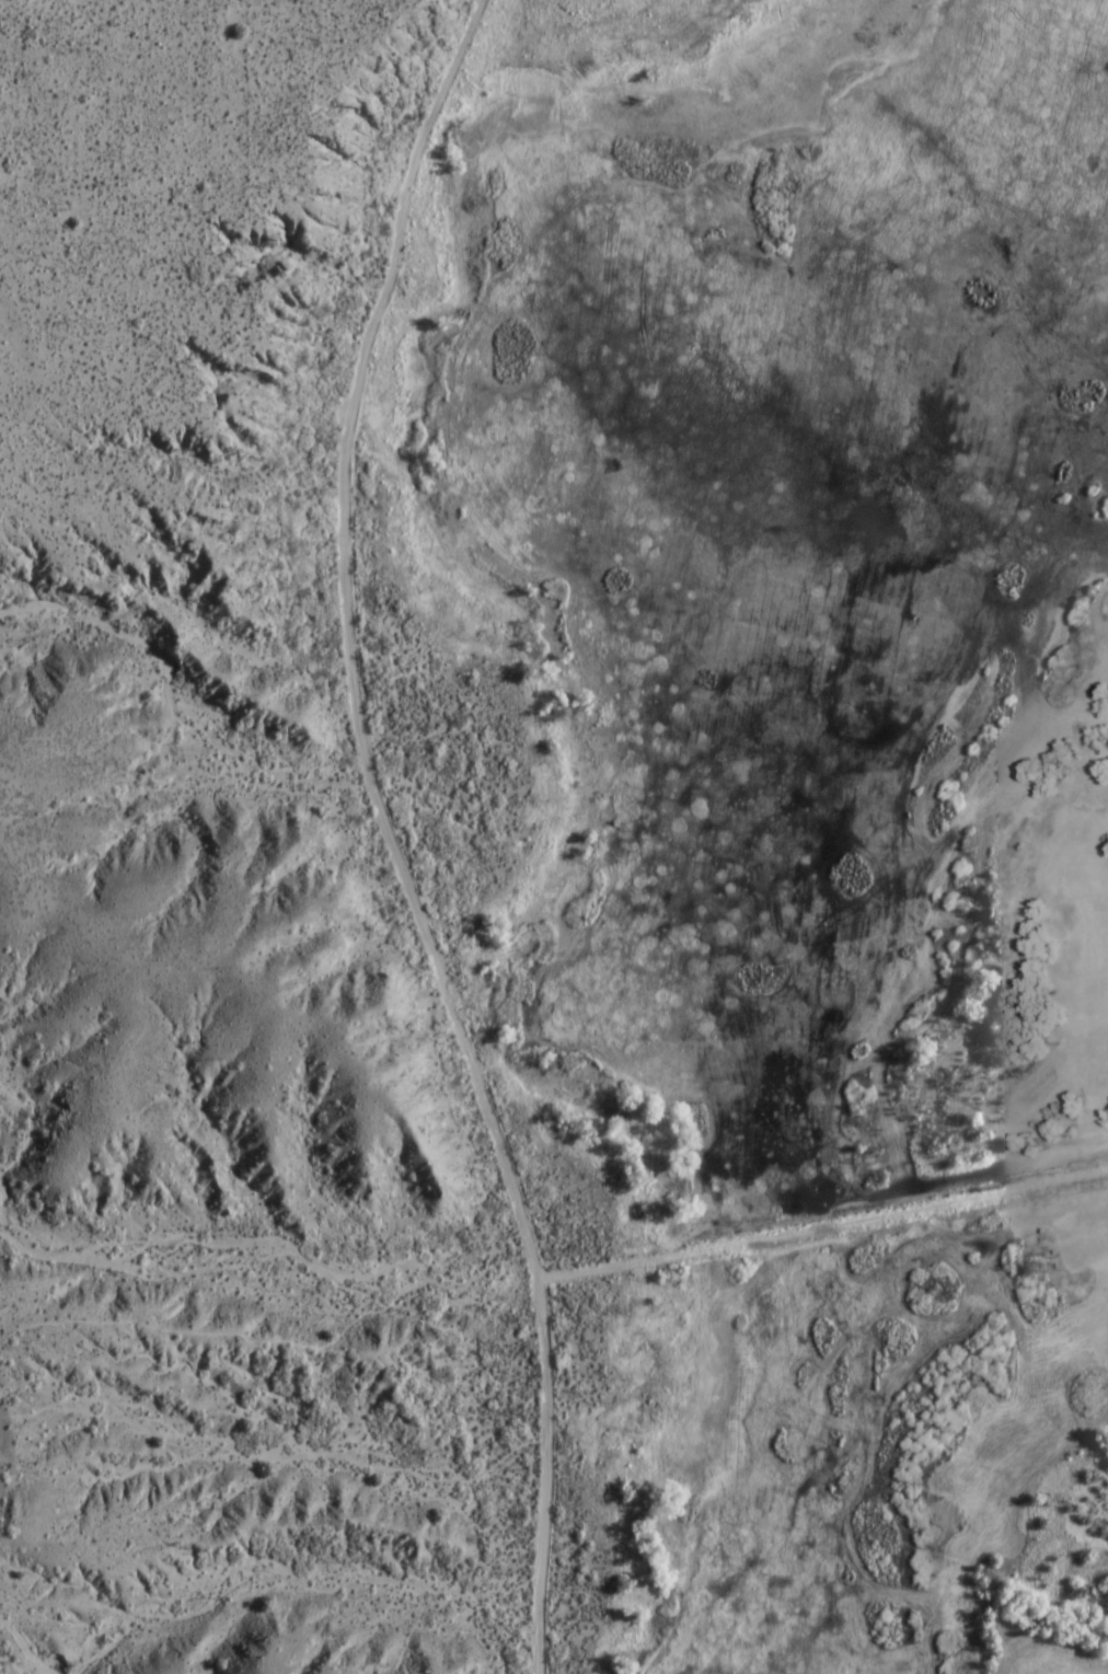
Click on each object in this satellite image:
road: (388, 835)
road: (916, 1207)
road: (632, 1261)
road: (2, 1492)

